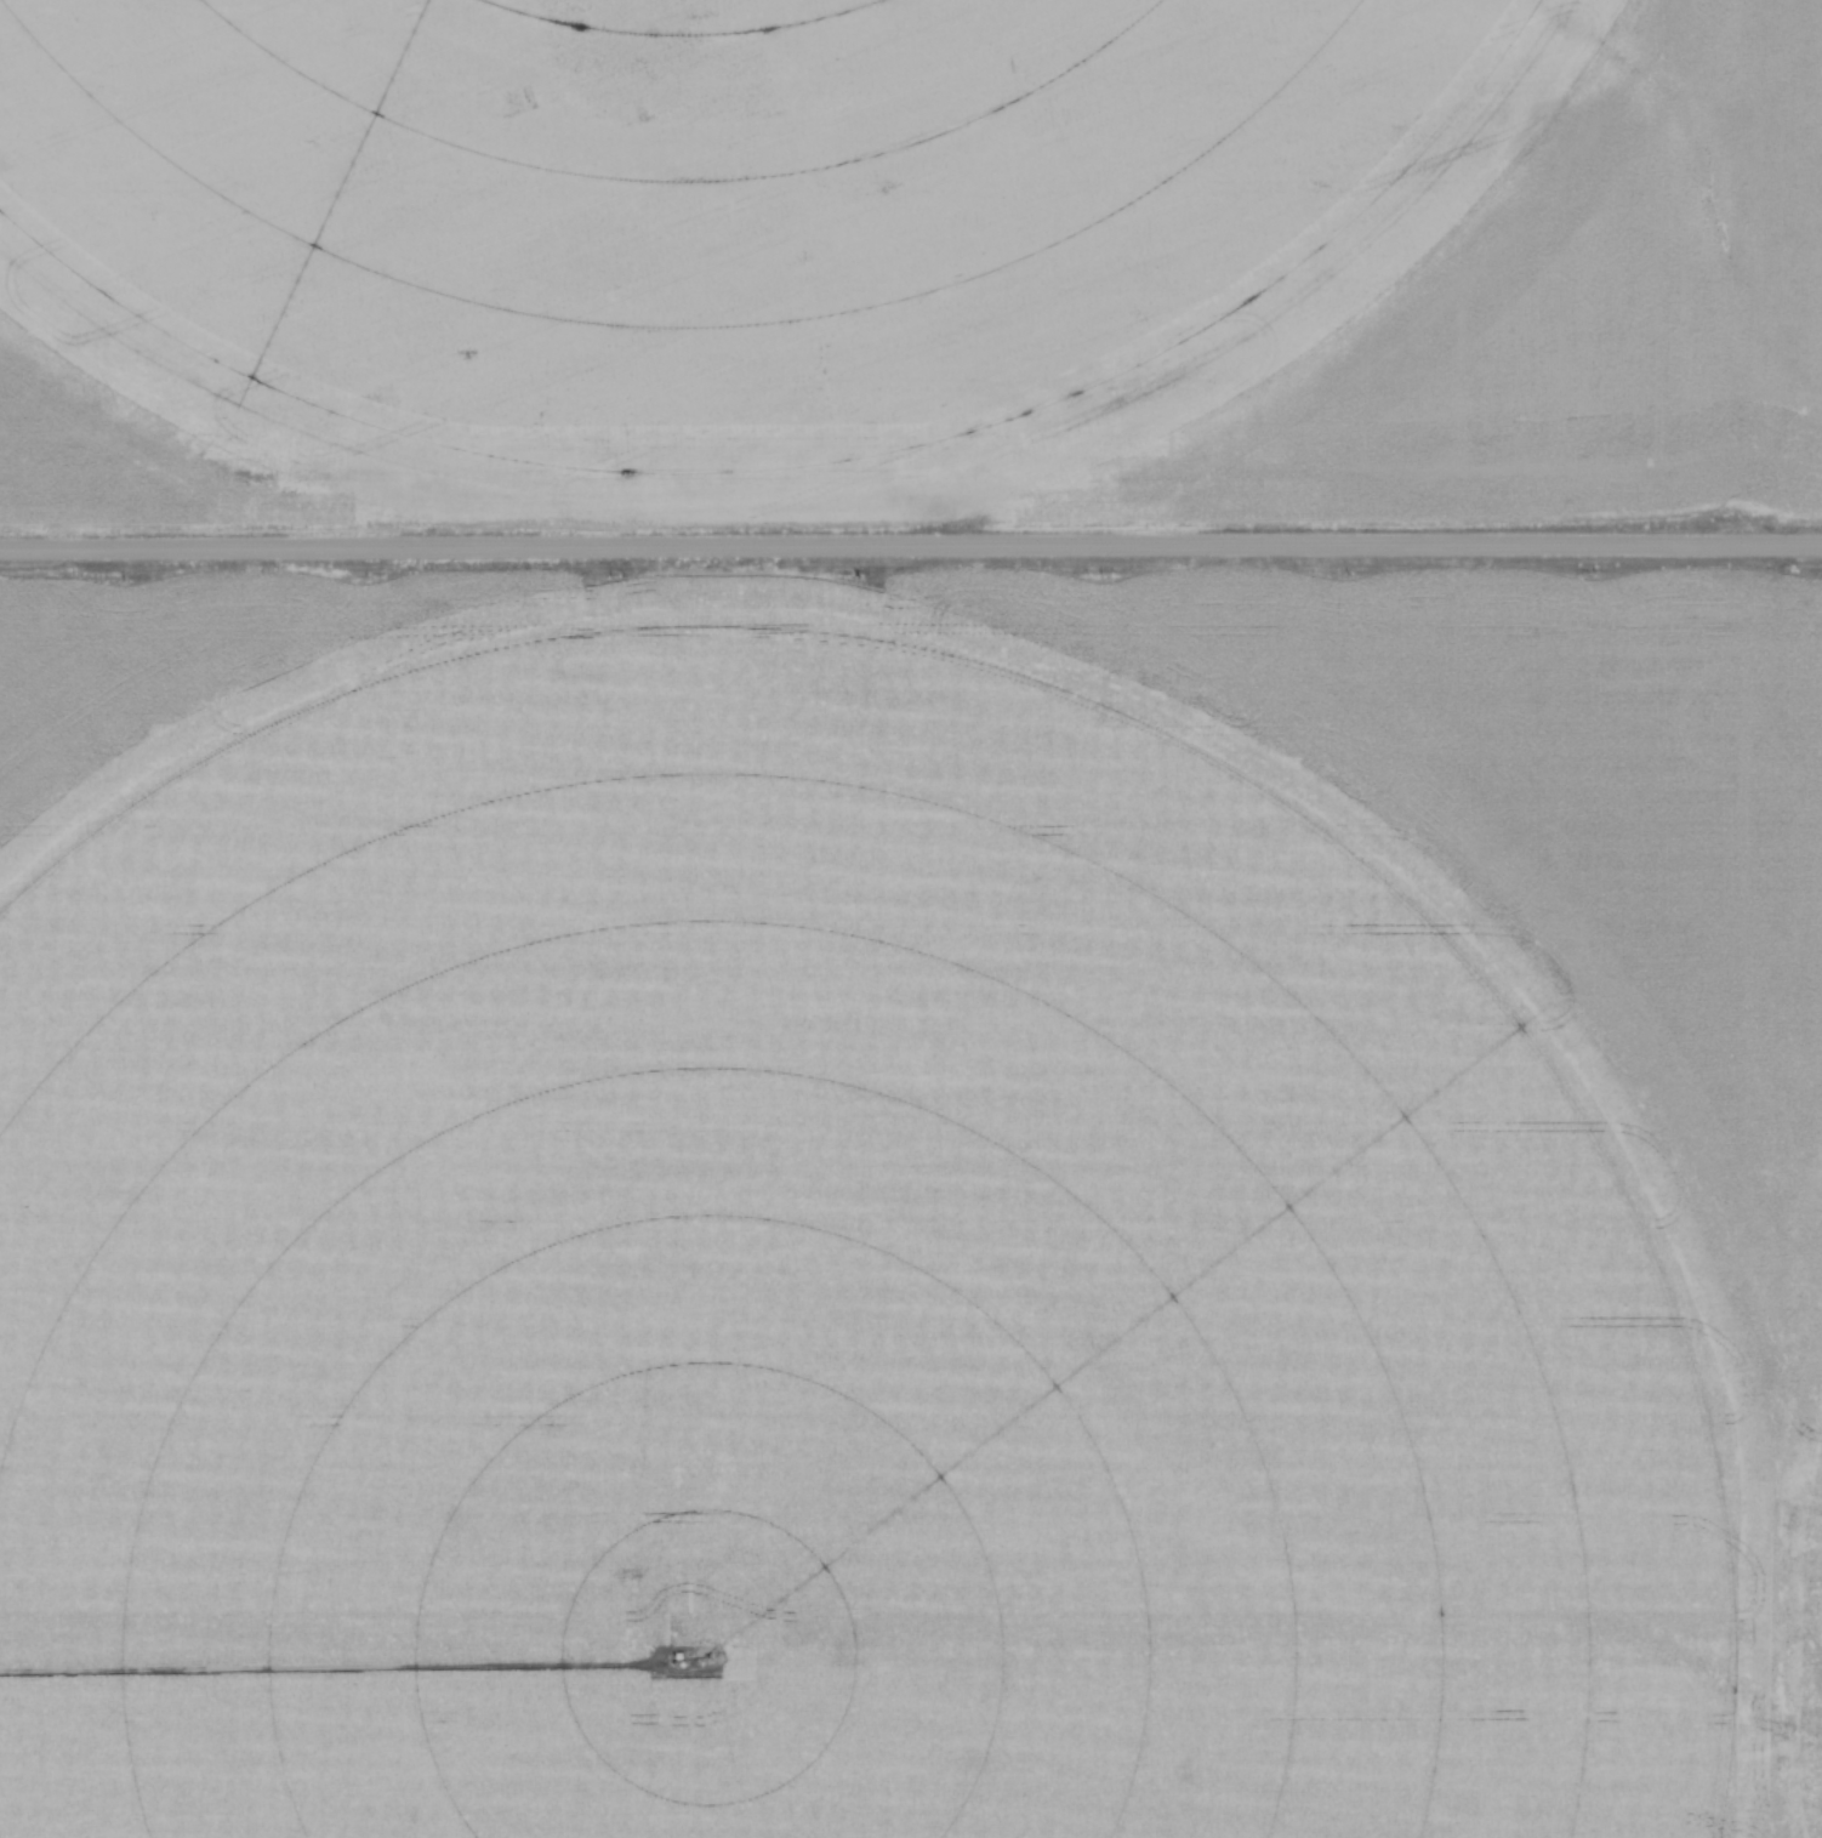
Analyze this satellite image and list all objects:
crop: (909, 260)
road: (911, 552)
crop: (910, 1208)

